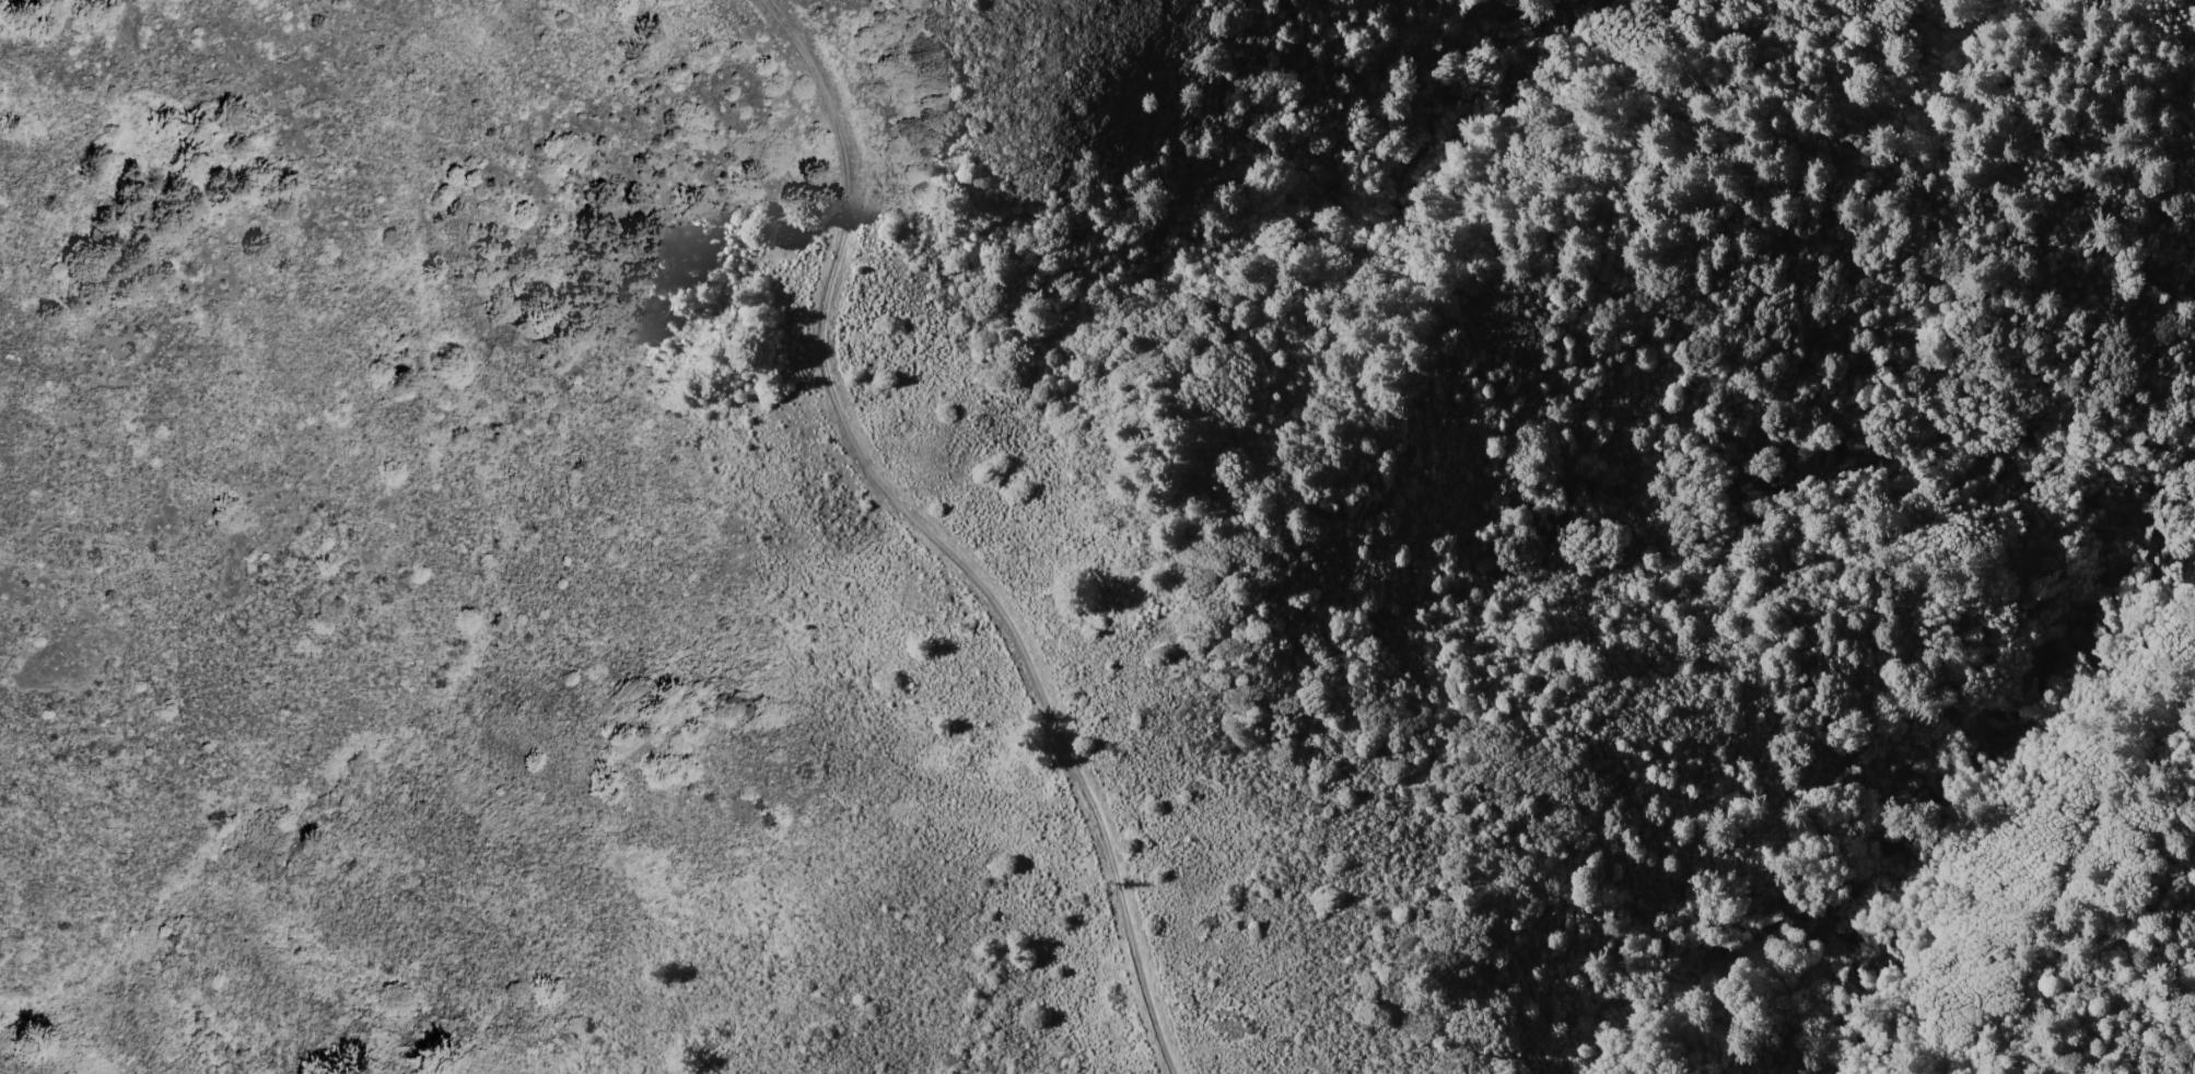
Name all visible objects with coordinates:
road: (938, 537)

